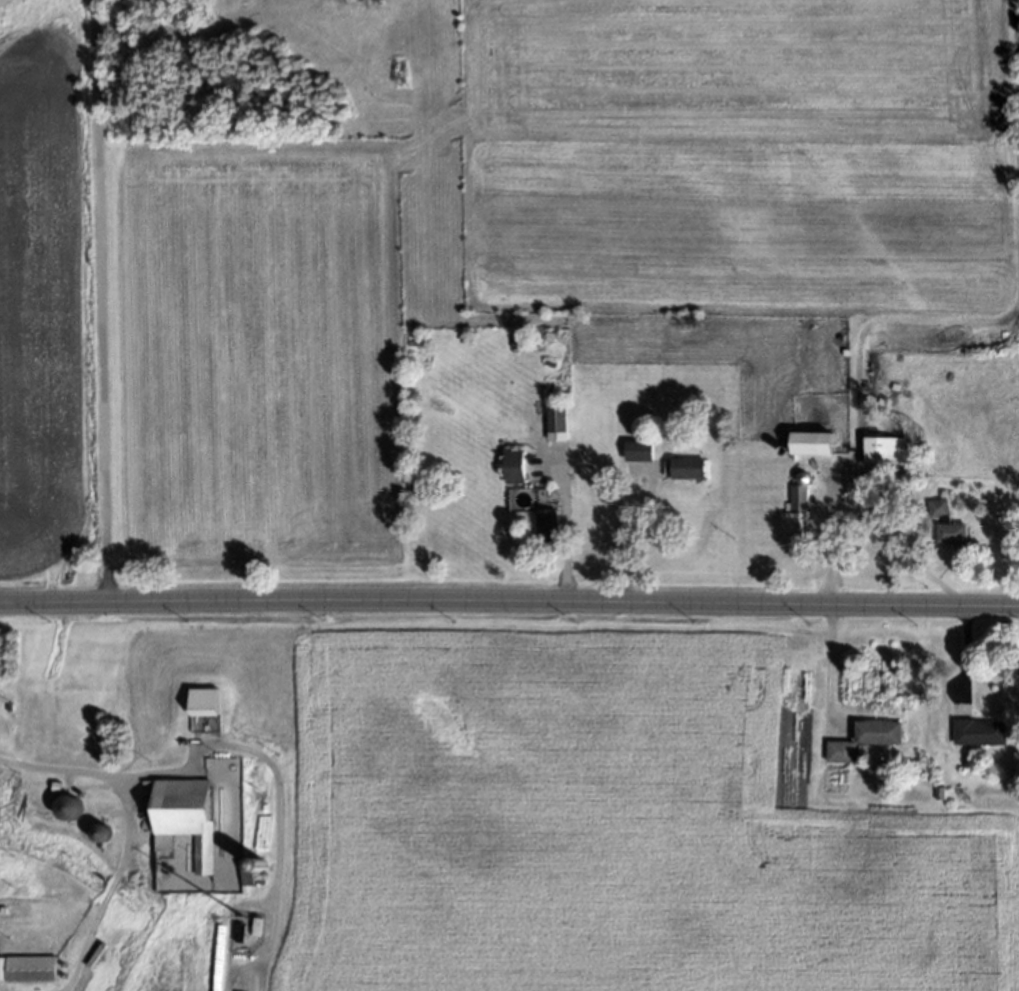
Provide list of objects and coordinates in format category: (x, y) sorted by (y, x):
road: (97, 301)
building: (552, 420)
building: (807, 440)
building: (881, 448)
building: (781, 449)
building: (635, 450)
building: (510, 464)
building: (793, 467)
building: (684, 468)
building: (801, 476)
building: (853, 487)
building: (870, 495)
road: (826, 499)
building: (792, 508)
building: (942, 520)
building: (544, 522)
road: (563, 526)
road: (889, 526)
building: (800, 538)
road: (922, 574)
road: (509, 599)
road: (825, 658)
building: (204, 703)
building: (871, 732)
building: (975, 732)
road: (220, 744)
building: (835, 751)
road: (111, 777)
building: (54, 786)
building: (935, 792)
building: (65, 806)
building: (181, 819)
building: (97, 831)
building: (254, 863)
building: (240, 872)
building: (246, 874)
building: (254, 879)
road: (108, 887)
building: (1, 906)
building: (254, 928)
building: (237, 935)
road: (83, 942)
building: (93, 953)
building: (0, 964)
building: (28, 968)

